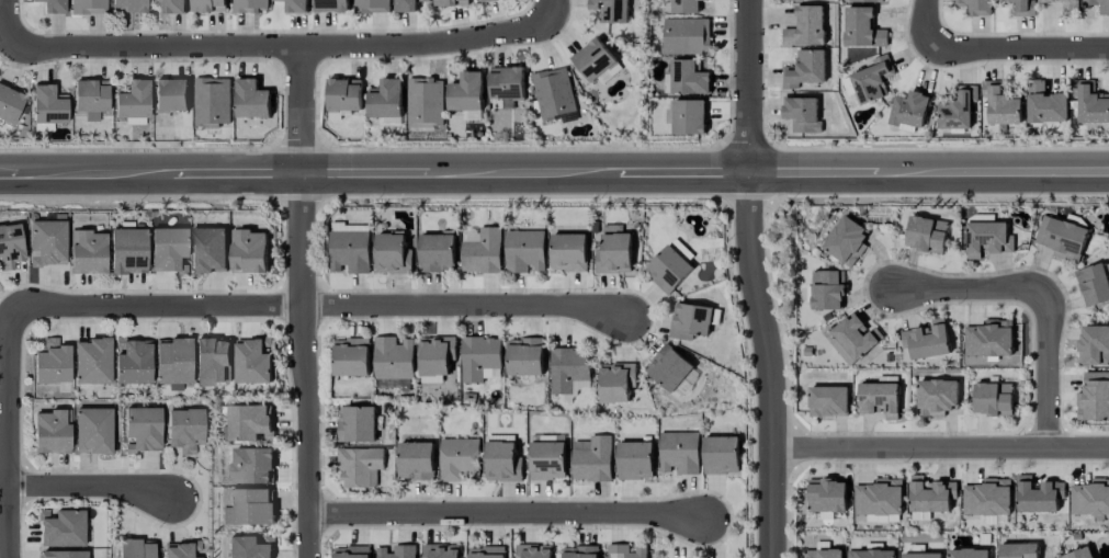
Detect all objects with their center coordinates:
building: (488, 0)
building: (865, 1)
building: (451, 2)
building: (53, 5)
building: (127, 5)
building: (173, 5)
building: (208, 5)
building: (249, 5)
building: (295, 5)
building: (331, 5)
building: (406, 5)
road: (553, 5)
building: (1065, 5)
building: (1099, 5)
building: (88, 7)
building: (372, 7)
building: (686, 7)
building: (974, 7)
building: (1023, 8)
building: (611, 10)
road: (927, 23)
road: (10, 24)
building: (805, 27)
building: (862, 29)
building: (687, 36)
road: (1018, 46)
road: (285, 47)
building: (593, 59)
building: (804, 69)
building: (689, 78)
building: (872, 80)
building: (507, 83)
road: (750, 84)
building: (466, 92)
building: (553, 93)
building: (343, 94)
building: (171, 95)
building: (90, 98)
building: (251, 99)
building: (385, 99)
building: (133, 102)
building: (212, 102)
building: (425, 102)
building: (9, 104)
building: (1000, 104)
building: (1045, 104)
building: (1091, 104)
building: (47, 107)
building: (908, 110)
building: (955, 111)
building: (802, 114)
building: (689, 117)
road: (554, 170)
building: (612, 228)
building: (926, 234)
building: (1061, 236)
building: (987, 239)
building: (846, 241)
building: (47, 242)
building: (10, 246)
building: (127, 250)
building: (168, 250)
building: (208, 250)
building: (681, 250)
building: (87, 251)
building: (249, 251)
building: (349, 251)
building: (524, 251)
building: (437, 252)
building: (483, 252)
building: (568, 252)
building: (393, 254)
building: (614, 254)
building: (667, 270)
building: (1094, 285)
building: (827, 289)
road: (1040, 300)
road: (302, 303)
road: (325, 305)
building: (692, 320)
building: (852, 339)
building: (988, 339)
building: (926, 340)
building: (1094, 345)
building: (524, 356)
building: (351, 357)
building: (393, 357)
building: (435, 357)
building: (479, 358)
building: (92, 360)
building: (133, 361)
building: (253, 361)
building: (52, 362)
building: (172, 362)
road: (768, 363)
building: (668, 367)
building: (568, 368)
building: (615, 382)
building: (392, 383)
building: (580, 386)
building: (937, 397)
building: (1094, 397)
building: (879, 399)
building: (993, 399)
building: (828, 401)
building: (249, 422)
building: (355, 424)
building: (142, 429)
building: (184, 429)
building: (92, 430)
road: (11, 431)
building: (50, 432)
road: (939, 448)
building: (678, 453)
building: (721, 455)
building: (459, 458)
building: (591, 458)
building: (416, 460)
building: (547, 460)
building: (634, 460)
building: (501, 462)
building: (251, 466)
building: (360, 466)
road: (88, 481)
building: (930, 494)
building: (826, 496)
building: (1038, 496)
building: (879, 498)
building: (987, 498)
building: (1090, 498)
building: (249, 508)
road: (508, 515)
building: (61, 527)
building: (249, 546)
building: (136, 548)
building: (181, 549)
building: (441, 550)
building: (1018, 550)
building: (352, 551)
building: (396, 551)
building: (533, 551)
building: (579, 551)
building: (625, 551)
building: (486, 553)
building: (967, 553)
building: (64, 554)
building: (823, 554)
building: (870, 554)
building: (1078, 554)
building: (921, 555)

